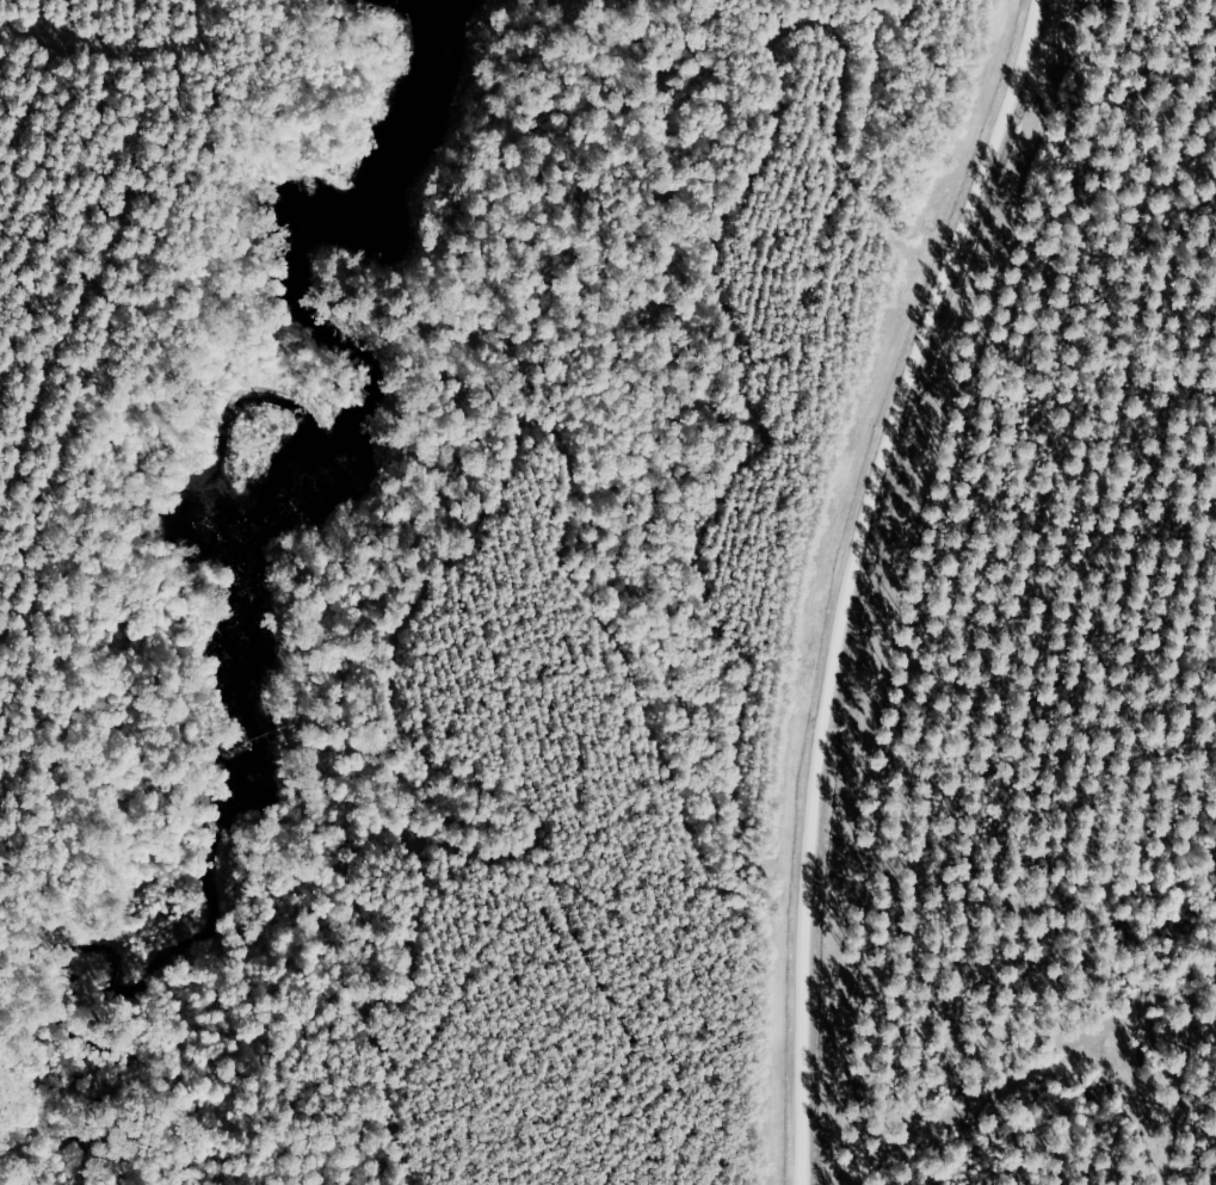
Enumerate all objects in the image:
road: (874, 581)

